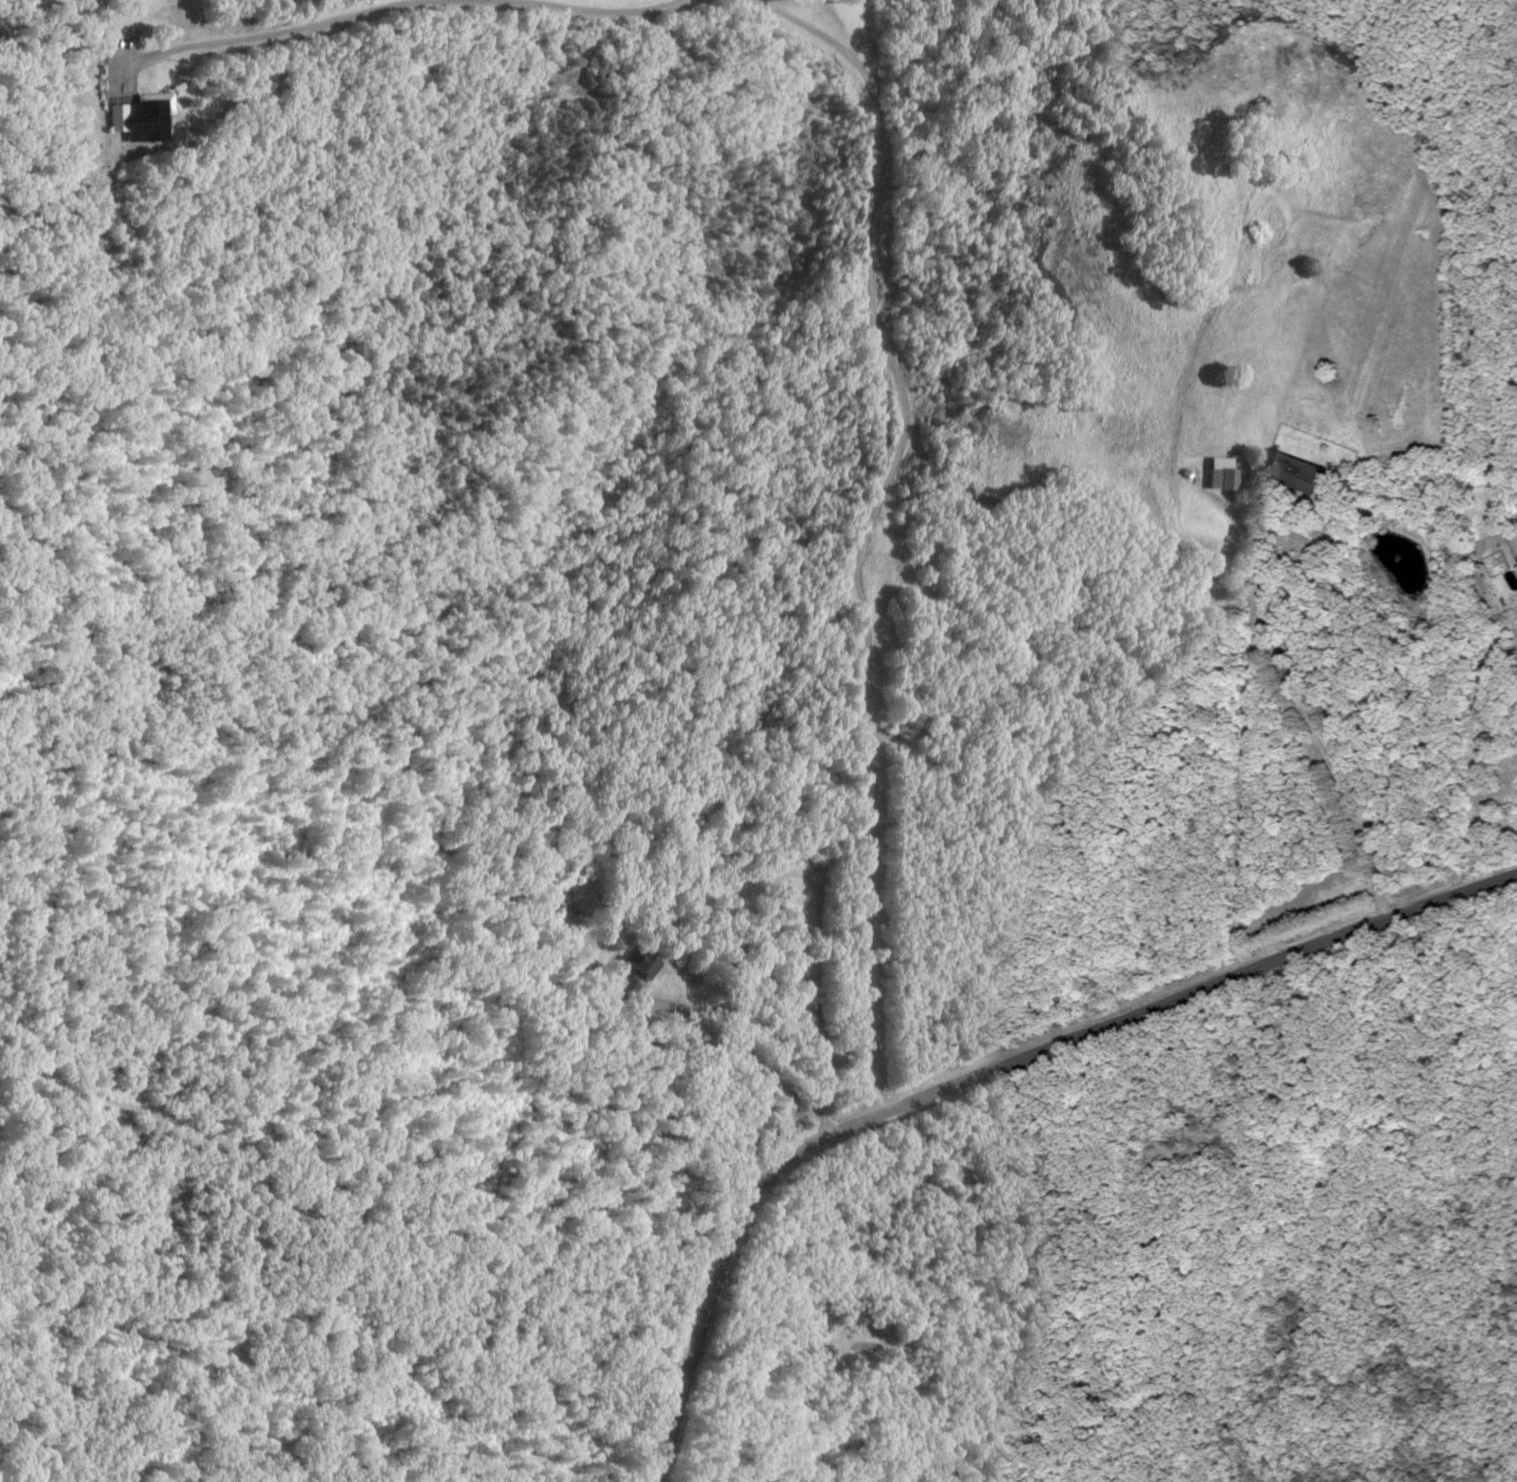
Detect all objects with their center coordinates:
road: (605, 7)
road: (256, 32)
building: (145, 119)
building: (1293, 472)
building: (1227, 477)
road: (865, 524)
road: (1278, 671)
building: (640, 966)
road: (976, 1065)

